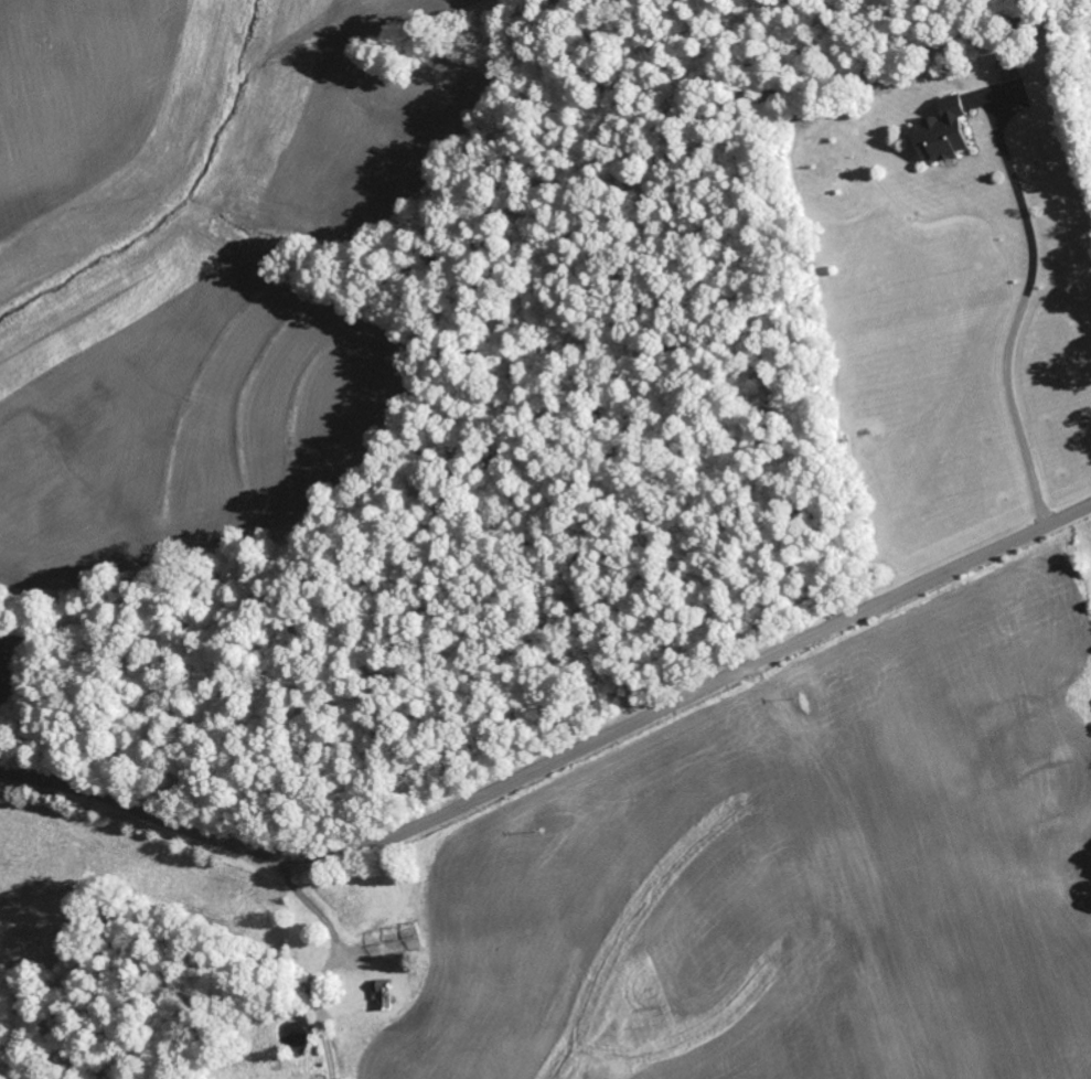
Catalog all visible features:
building: (1016, 67)
building: (948, 133)
road: (558, 757)
building: (404, 940)
building: (386, 993)

